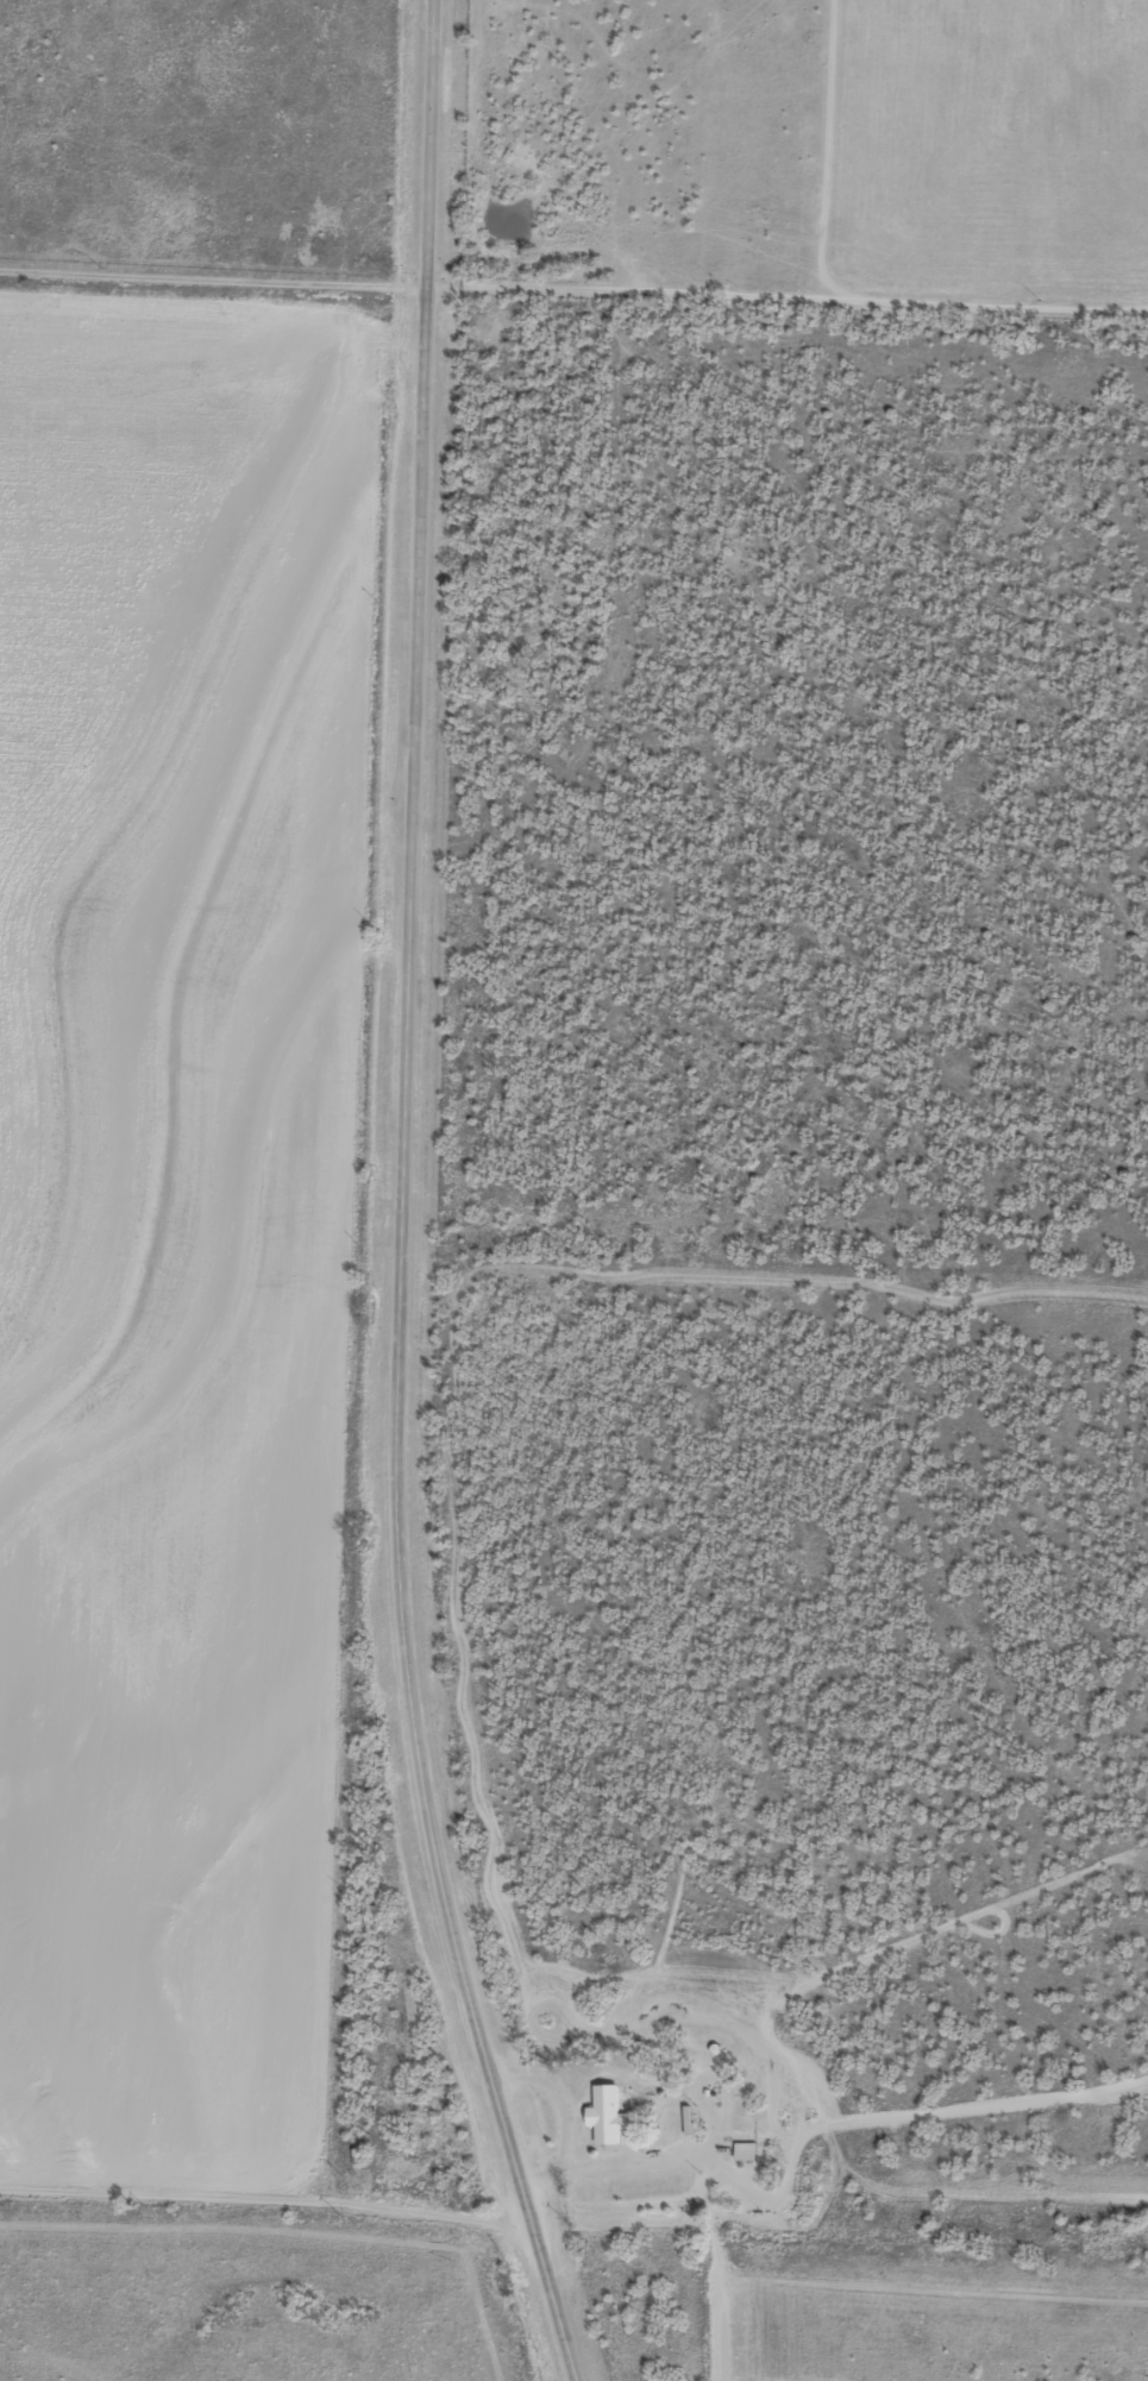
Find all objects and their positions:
road: (573, 296)
road: (403, 1200)
road: (774, 1280)
building: (609, 2116)
road: (269, 2214)

